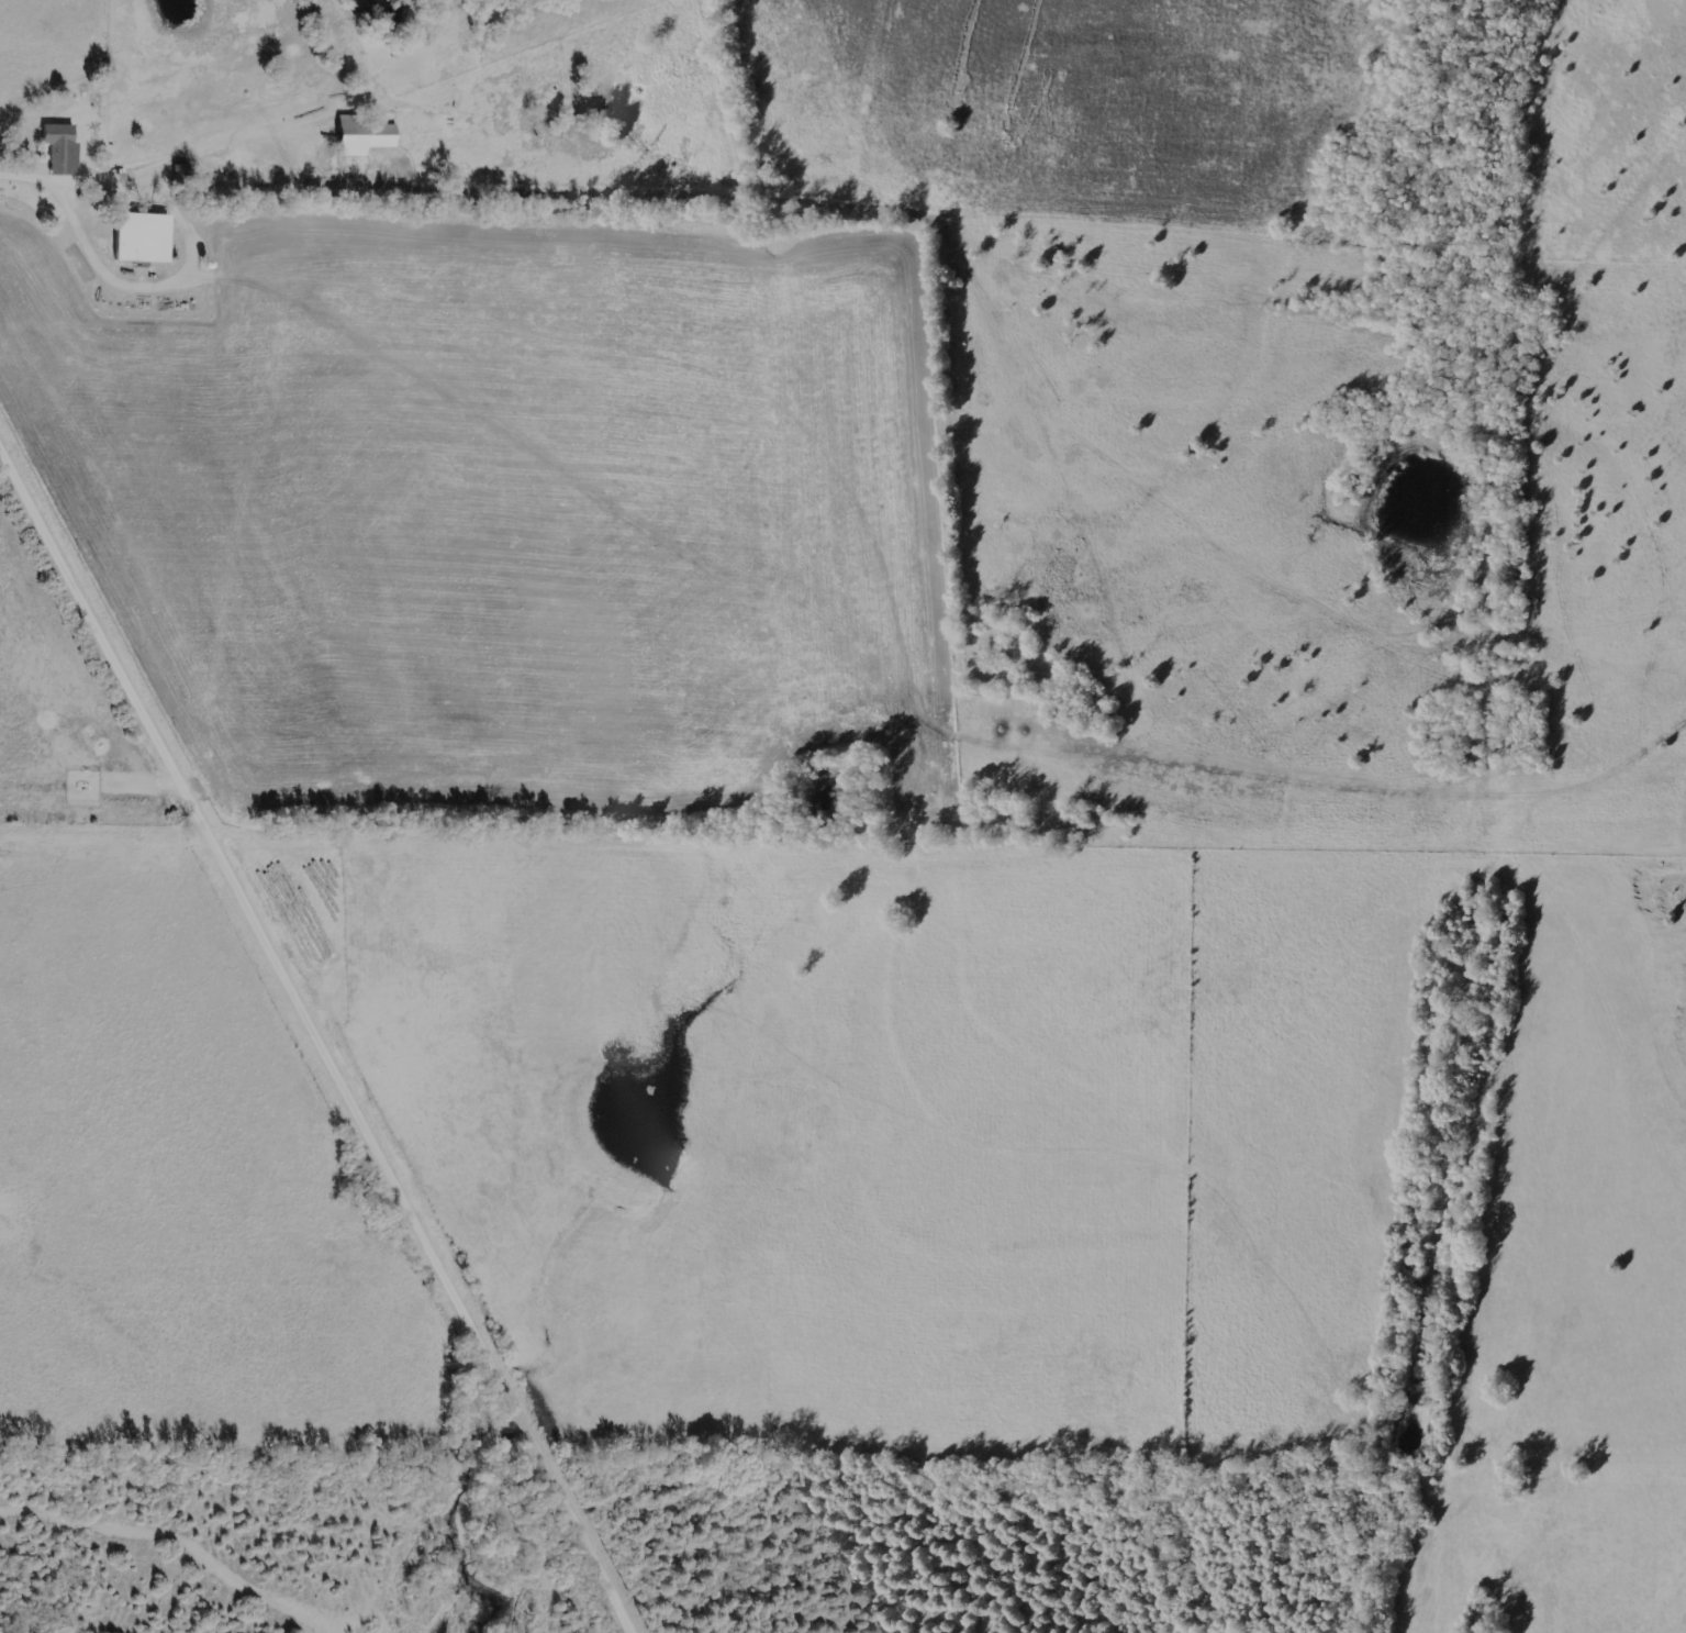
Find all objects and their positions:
building: (360, 137)
building: (59, 149)
building: (138, 238)
road: (315, 1037)

